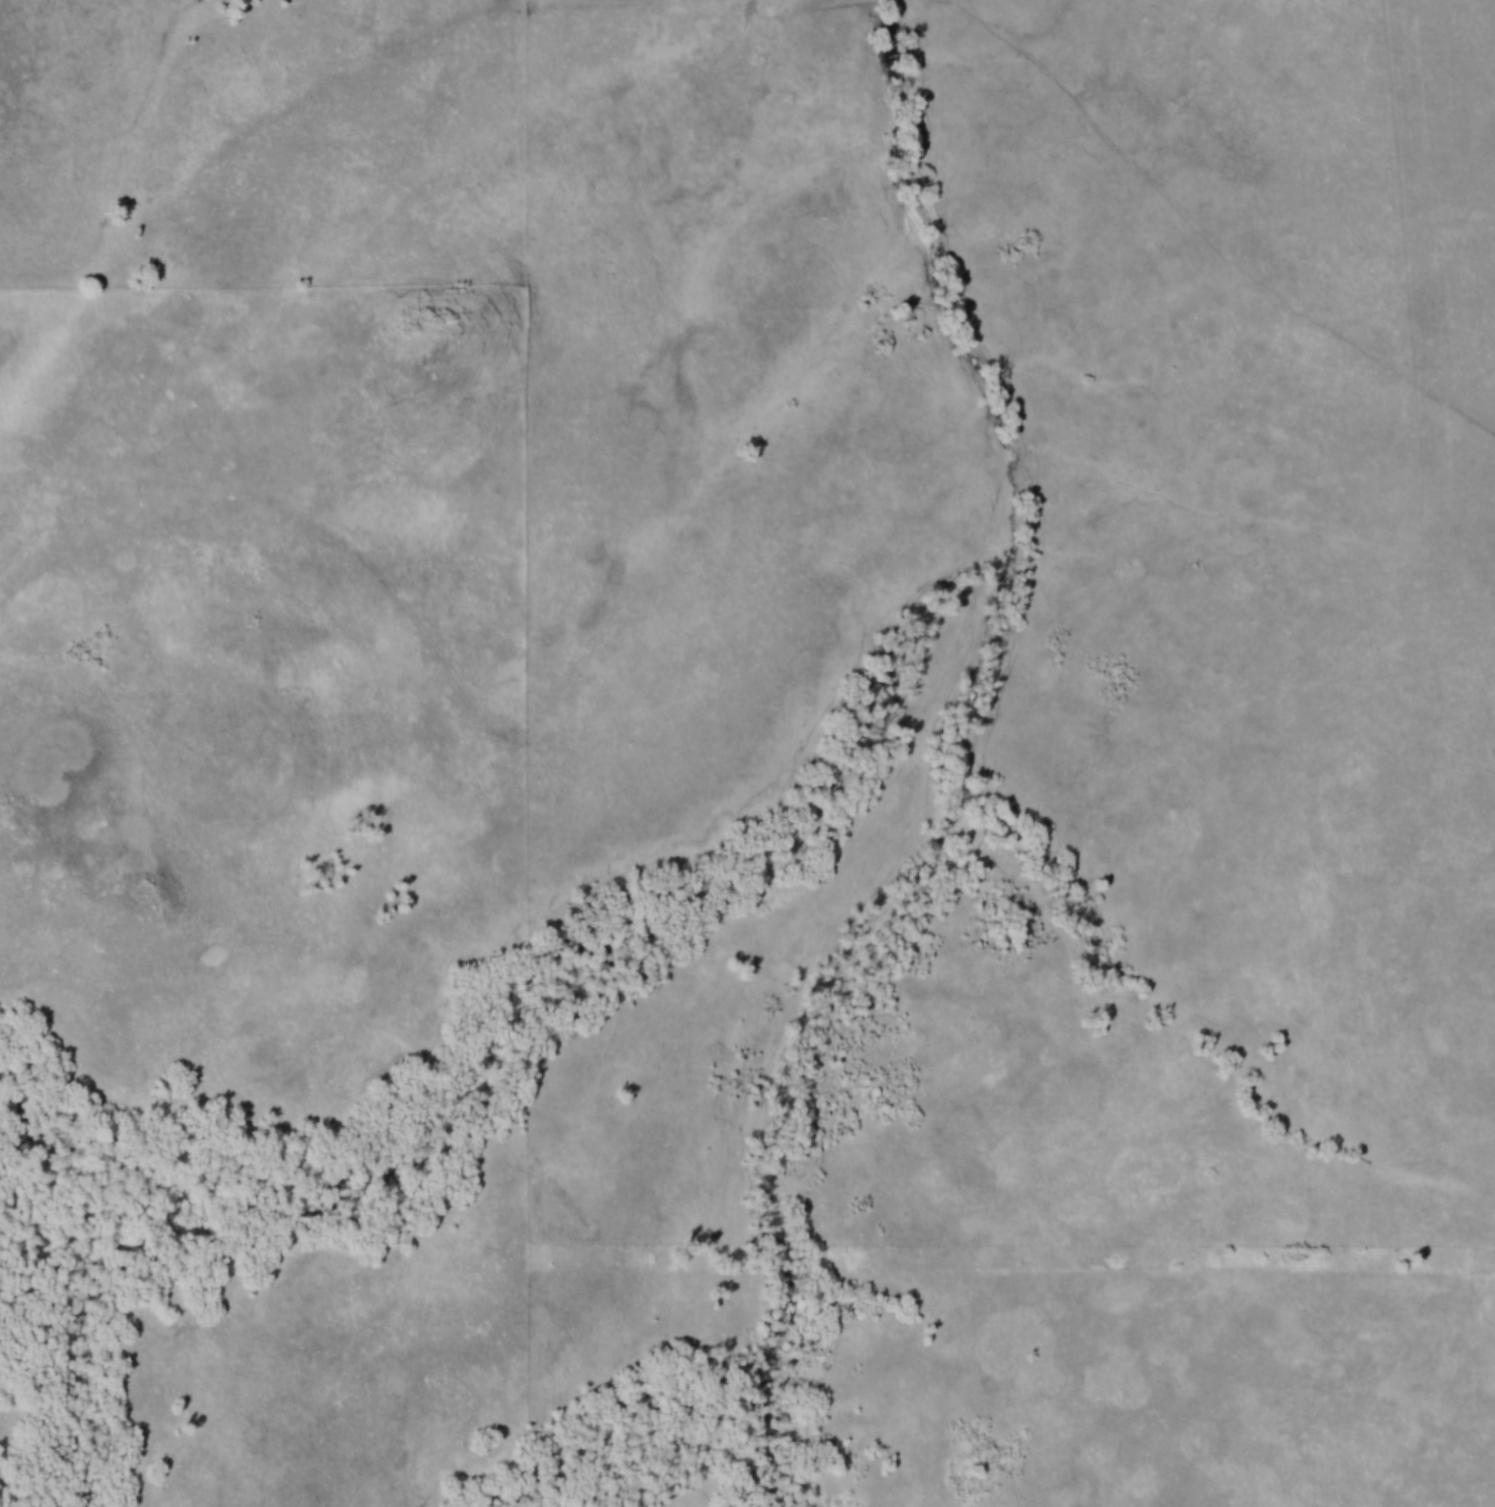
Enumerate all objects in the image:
road: (831, 3)
road: (116, 190)

